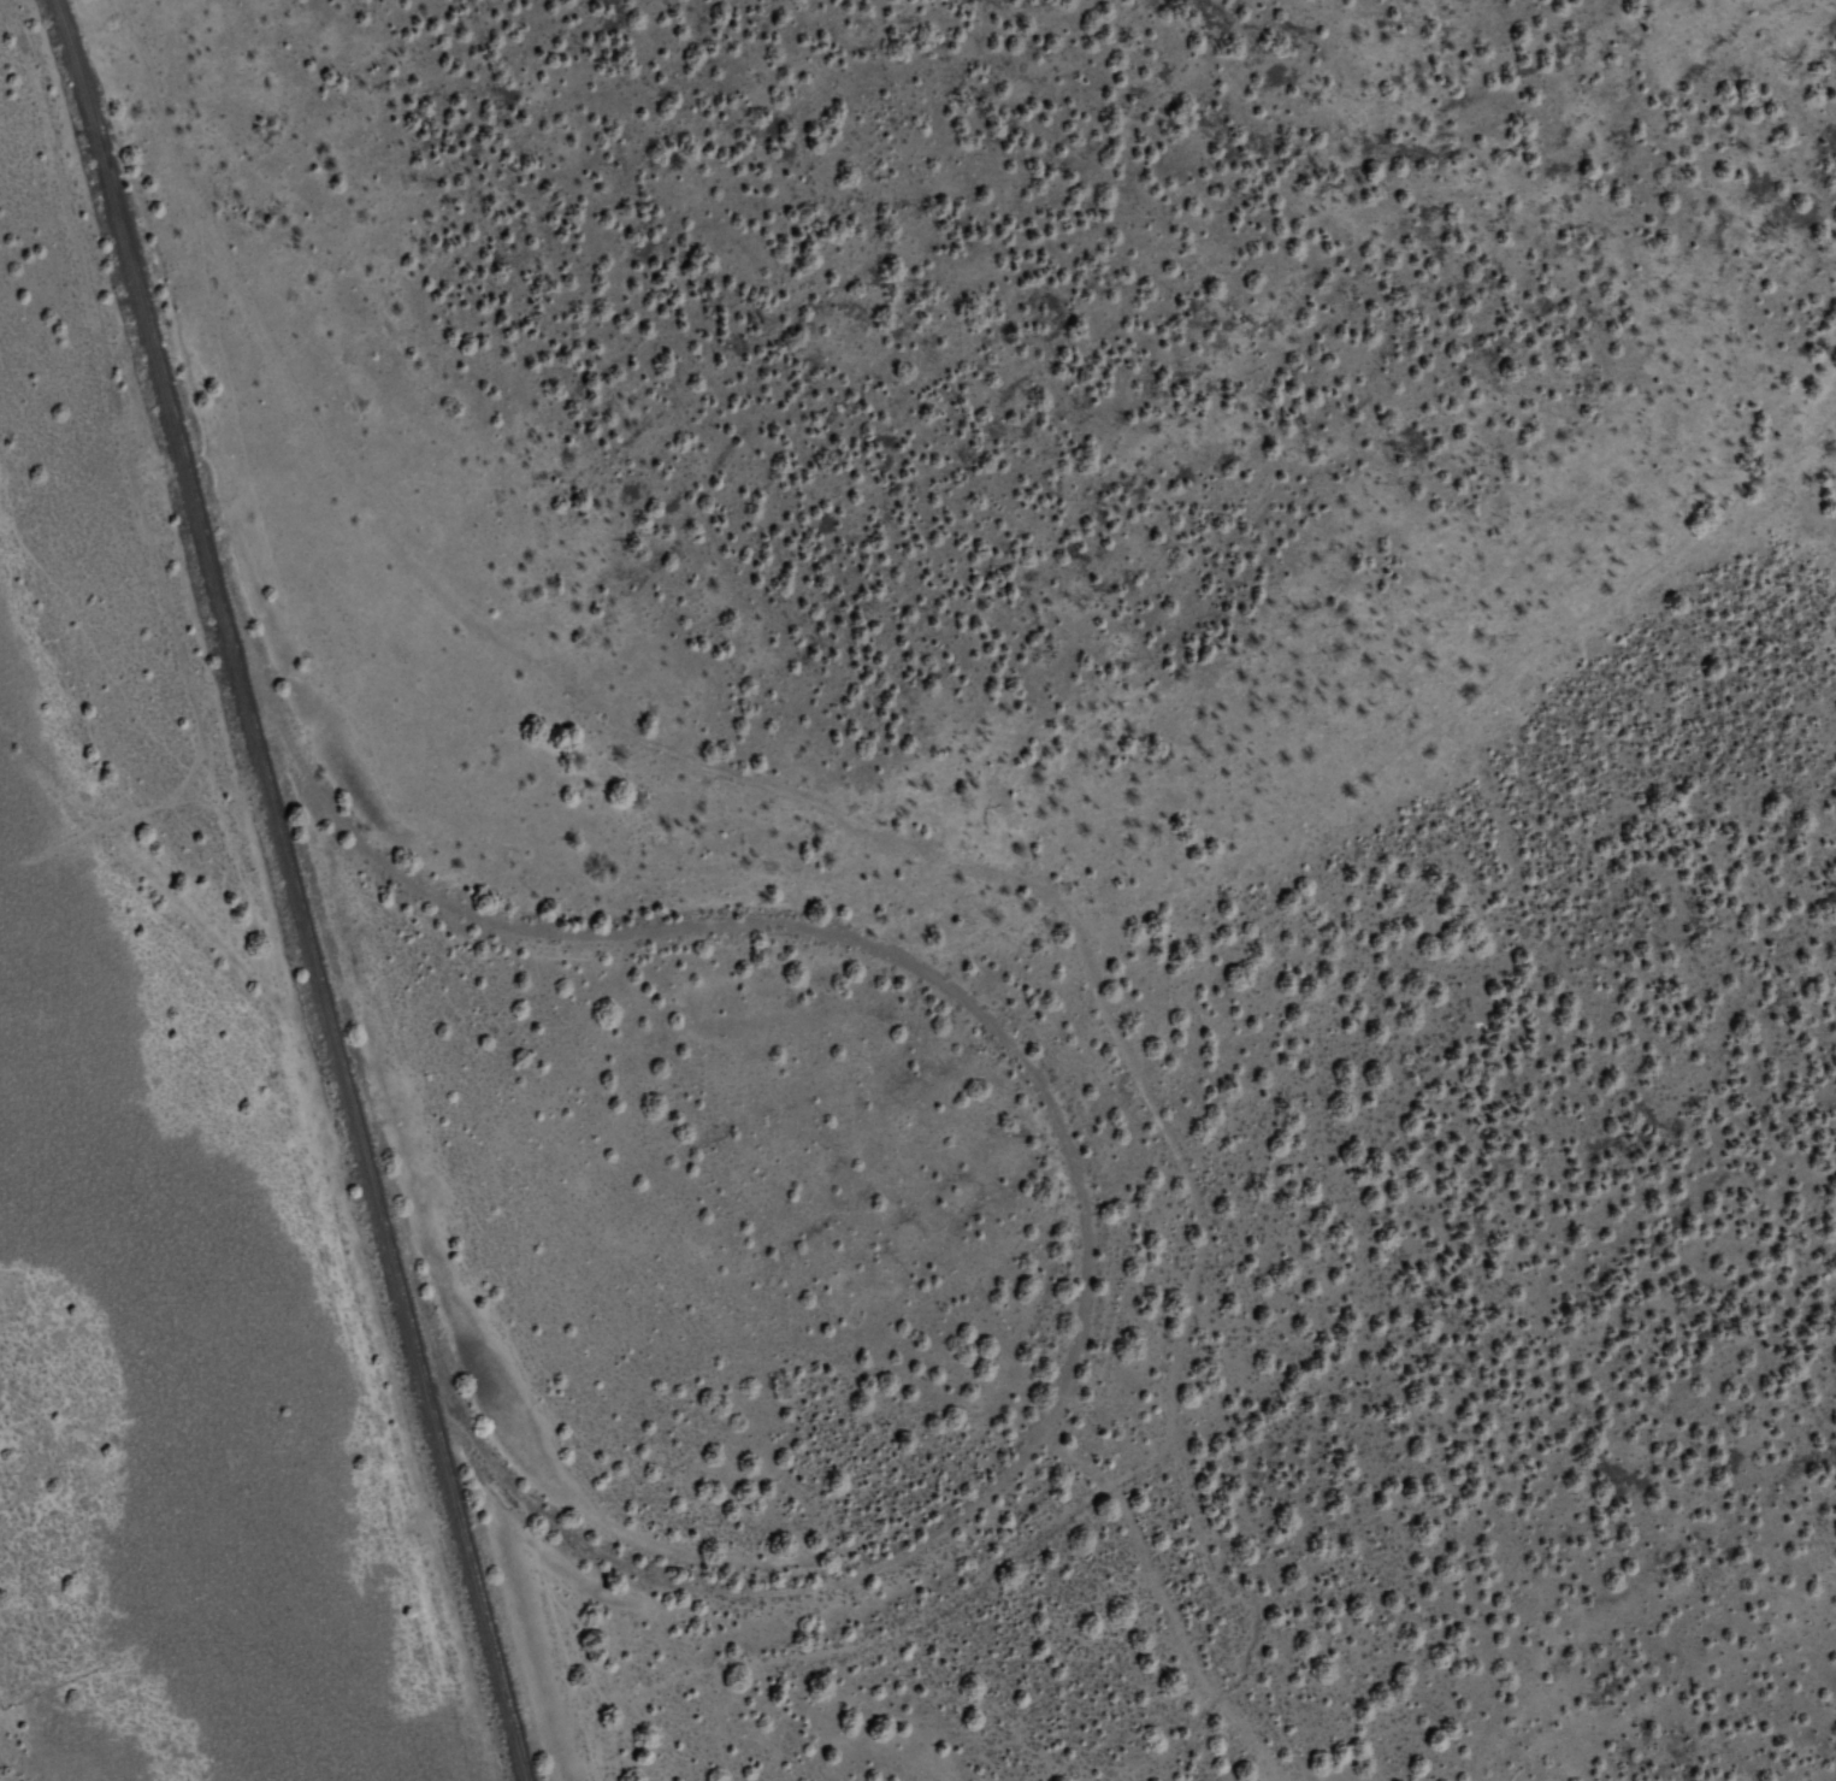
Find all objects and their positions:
road: (137, 490)
road: (1203, 1567)

